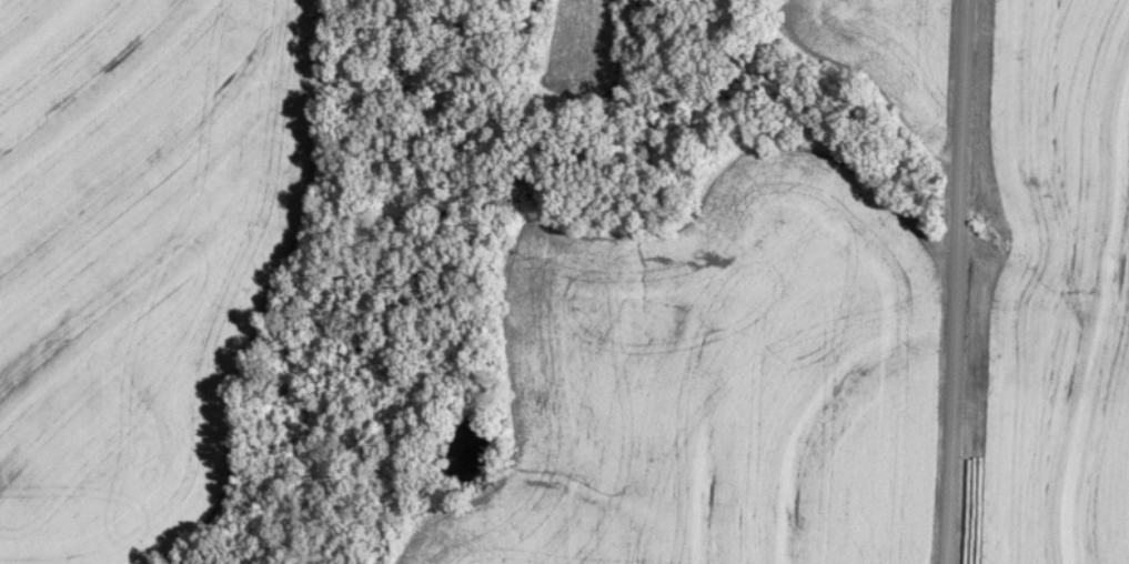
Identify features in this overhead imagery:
road: (952, 282)

